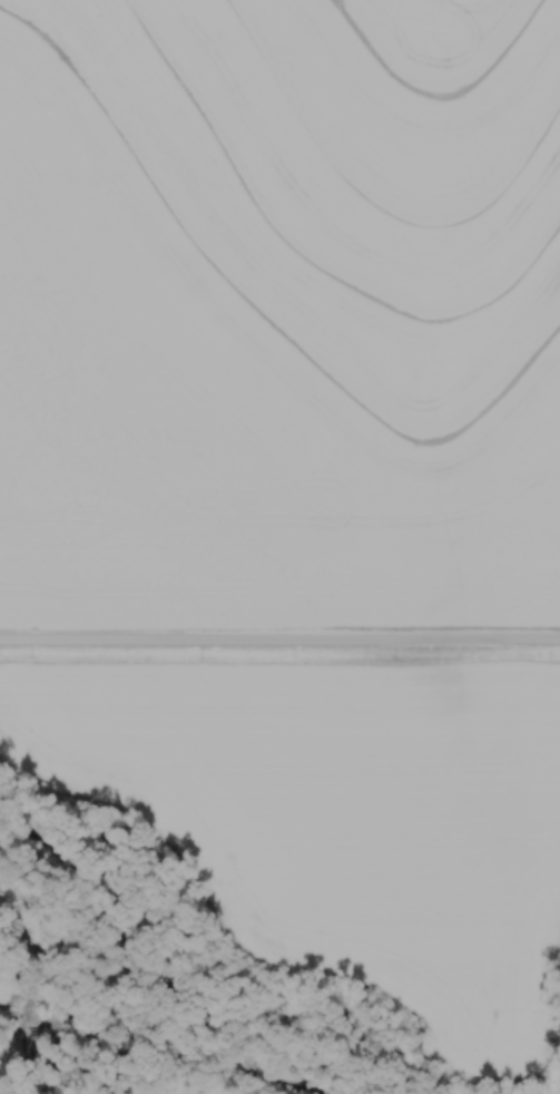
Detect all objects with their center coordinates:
road: (279, 643)

